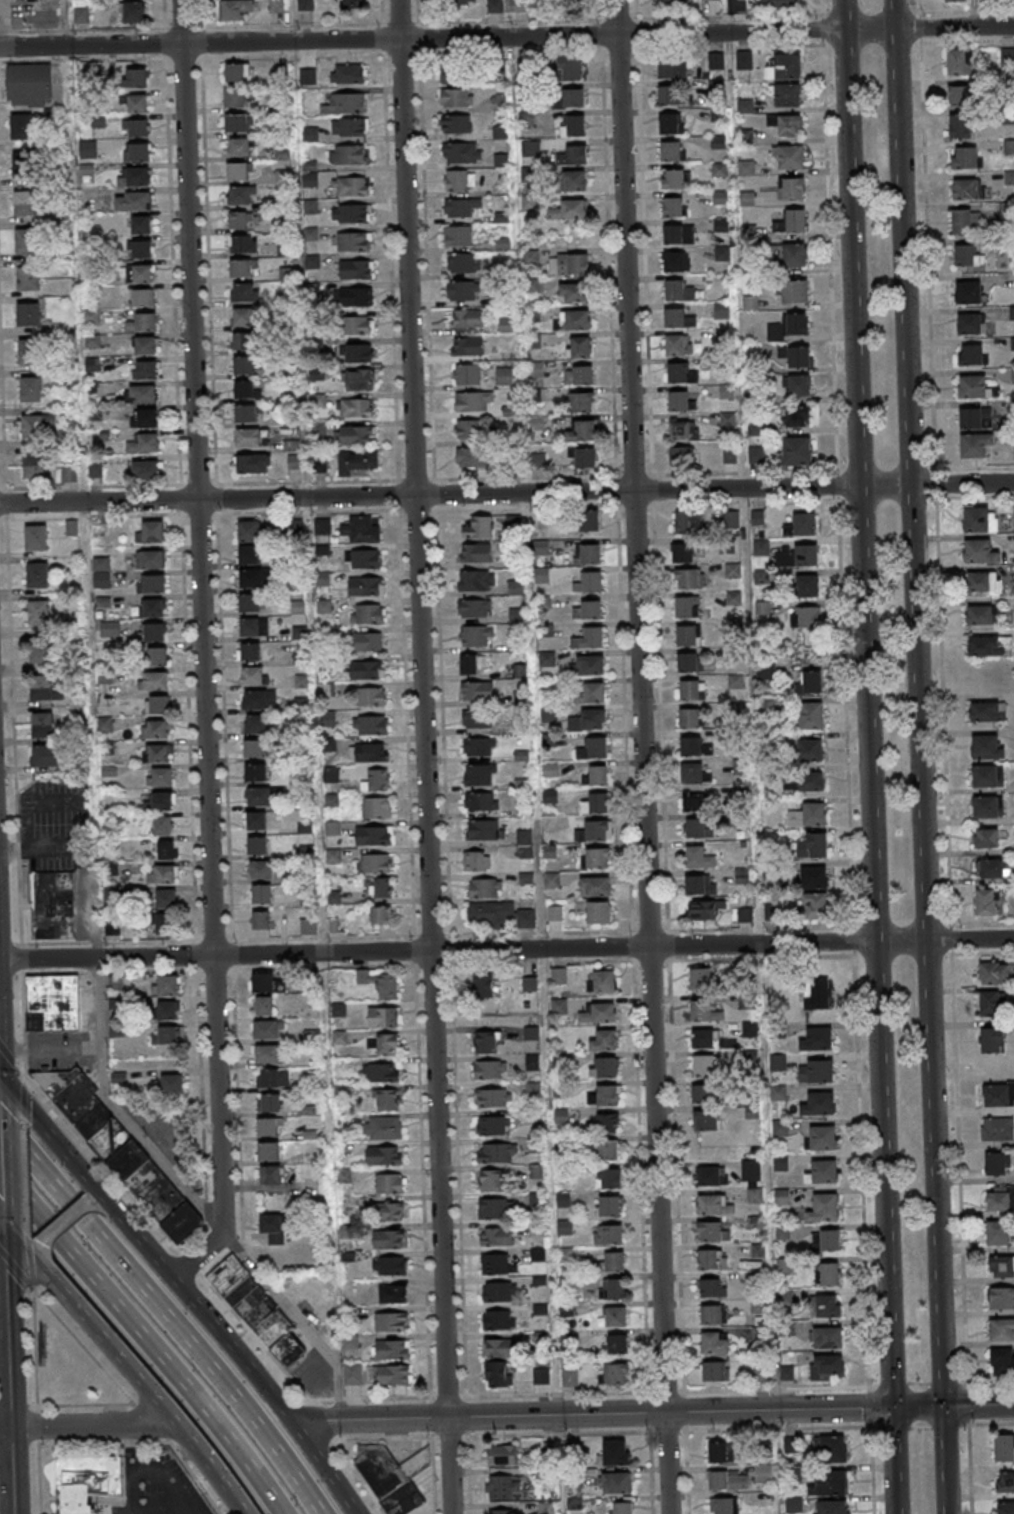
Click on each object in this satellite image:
building: (670, 0)
building: (711, 0)
building: (559, 1)
building: (955, 1)
building: (454, 2)
building: (351, 3)
building: (771, 4)
building: (276, 5)
building: (305, 5)
building: (494, 6)
building: (233, 9)
building: (132, 12)
building: (81, 15)
road: (66, 23)
road: (507, 37)
building: (1007, 58)
building: (716, 62)
building: (957, 62)
building: (570, 68)
building: (673, 68)
building: (784, 68)
building: (237, 72)
building: (346, 73)
building: (456, 75)
building: (135, 79)
building: (29, 85)
building: (668, 95)
building: (960, 95)
building: (787, 96)
building: (573, 97)
building: (235, 98)
building: (457, 98)
building: (499, 102)
building: (136, 104)
building: (347, 104)
building: (745, 106)
building: (717, 114)
building: (670, 122)
building: (239, 123)
building: (456, 124)
building: (573, 125)
building: (789, 126)
building: (959, 126)
building: (22, 127)
building: (136, 128)
building: (349, 128)
building: (718, 141)
building: (1009, 147)
building: (240, 148)
building: (531, 148)
building: (671, 150)
building: (136, 152)
building: (462, 152)
building: (347, 155)
building: (574, 155)
building: (789, 157)
building: (965, 157)
building: (25, 165)
building: (746, 168)
building: (719, 170)
building: (237, 172)
building: (134, 176)
building: (1009, 177)
building: (676, 178)
building: (460, 179)
building: (572, 180)
building: (351, 186)
building: (791, 188)
building: (968, 188)
building: (239, 196)
building: (132, 200)
building: (25, 204)
building: (461, 206)
building: (674, 206)
building: (570, 210)
building: (351, 213)
building: (238, 221)
building: (791, 221)
building: (964, 221)
building: (141, 224)
building: (678, 234)
building: (458, 235)
building: (353, 241)
building: (25, 242)
building: (243, 244)
building: (141, 249)
building: (722, 253)
building: (788, 254)
building: (967, 256)
building: (312, 261)
building: (675, 261)
building: (463, 262)
building: (569, 265)
building: (241, 268)
building: (356, 269)
building: (139, 273)
building: (286, 274)
building: (29, 278)
building: (245, 291)
building: (463, 291)
building: (678, 291)
building: (792, 291)
building: (968, 292)
building: (572, 293)
building: (354, 296)
building: (142, 297)
building: (722, 310)
building: (28, 314)
building: (244, 317)
building: (674, 317)
building: (466, 319)
building: (576, 320)
building: (142, 322)
building: (796, 323)
building: (969, 323)
building: (358, 324)
building: (243, 341)
building: (145, 345)
building: (678, 345)
building: (463, 346)
building: (578, 346)
building: (28, 351)
building: (357, 352)
building: (972, 355)
building: (796, 356)
building: (245, 365)
building: (535, 369)
building: (145, 370)
building: (680, 373)
building: (467, 374)
building: (578, 374)
building: (357, 379)
building: (796, 386)
building: (974, 386)
building: (31, 389)
building: (245, 390)
building: (142, 393)
building: (680, 400)
building: (473, 401)
building: (582, 402)
building: (356, 407)
building: (246, 414)
building: (797, 417)
building: (144, 418)
building: (976, 418)
building: (728, 419)
building: (36, 425)
building: (468, 430)
building: (683, 430)
building: (579, 432)
building: (354, 435)
building: (249, 438)
building: (144, 443)
building: (975, 445)
building: (797, 452)
building: (756, 455)
building: (729, 456)
building: (681, 457)
building: (471, 458)
building: (583, 459)
building: (538, 461)
building: (356, 462)
building: (253, 463)
building: (33, 468)
building: (146, 469)
road: (935, 469)
building: (96, 471)
road: (507, 493)
building: (730, 519)
building: (589, 520)
building: (979, 520)
building: (688, 522)
building: (802, 524)
building: (322, 525)
building: (294, 527)
building: (479, 527)
building: (97, 531)
building: (248, 531)
building: (151, 532)
building: (35, 538)
building: (325, 550)
building: (980, 551)
building: (476, 552)
building: (683, 552)
building: (248, 554)
building: (587, 554)
building: (797, 555)
building: (365, 558)
building: (149, 559)
building: (733, 570)
building: (101, 572)
building: (37, 574)
building: (689, 578)
building: (251, 579)
building: (323, 579)
building: (476, 580)
building: (589, 582)
building: (983, 582)
building: (151, 583)
building: (807, 585)
building: (365, 586)
building: (516, 587)
building: (249, 602)
building: (686, 606)
building: (297, 607)
building: (152, 608)
building: (474, 608)
building: (588, 610)
building: (39, 612)
building: (367, 613)
building: (983, 614)
building: (804, 617)
building: (253, 626)
building: (109, 628)
building: (151, 632)
building: (687, 635)
building: (475, 637)
building: (589, 638)
building: (368, 641)
building: (989, 646)
road: (202, 650)
building: (40, 651)
building: (249, 651)
building: (157, 655)
building: (688, 662)
building: (469, 665)
building: (588, 665)
building: (367, 669)
building: (254, 675)
building: (153, 680)
building: (811, 682)
building: (41, 687)
building: (476, 690)
building: (691, 690)
building: (591, 693)
building: (372, 695)
building: (259, 699)
road: (918, 702)
road: (866, 703)
building: (160, 704)
building: (987, 711)
building: (810, 715)
building: (689, 718)
building: (475, 719)
building: (588, 720)
building: (42, 724)
building: (255, 724)
building: (370, 724)
building: (154, 729)
building: (479, 746)
building: (691, 746)
building: (986, 747)
building: (594, 748)
building: (253, 749)
building: (810, 750)
building: (368, 752)
building: (156, 753)
building: (47, 755)
road: (642, 756)
road: (424, 757)
building: (740, 767)
building: (255, 773)
building: (694, 773)
building: (480, 774)
building: (598, 775)
building: (988, 775)
building: (159, 776)
building: (378, 779)
building: (811, 781)
building: (259, 798)
building: (160, 801)
building: (481, 801)
building: (595, 802)
building: (693, 802)
road: (92, 807)
building: (376, 807)
building: (987, 807)
building: (809, 815)
building: (256, 822)
building: (163, 825)
building: (695, 828)
building: (485, 829)
building: (594, 831)
building: (370, 835)
building: (985, 838)
building: (813, 845)
building: (257, 846)
building: (162, 849)
building: (698, 857)
building: (597, 858)
building: (476, 860)
building: (376, 863)
building: (993, 868)
building: (261, 869)
building: (162, 873)
building: (814, 878)
building: (552, 880)
building: (699, 884)
building: (594, 885)
building: (379, 888)
building: (485, 888)
building: (261, 893)
building: (166, 898)
building: (986, 902)
building: (54, 905)
building: (815, 906)
building: (701, 909)
building: (595, 911)
building: (555, 913)
building: (499, 914)
building: (380, 915)
building: (745, 915)
building: (260, 919)
building: (164, 924)
building: (308, 926)
road: (506, 949)
building: (993, 972)
building: (559, 976)
building: (700, 979)
building: (601, 981)
building: (380, 982)
building: (267, 983)
building: (482, 985)
building: (166, 986)
building: (817, 994)
building: (52, 1002)
building: (990, 1003)
building: (263, 1005)
building: (165, 1011)
building: (701, 1011)
building: (599, 1013)
building: (383, 1016)
building: (268, 1029)
building: (165, 1035)
building: (703, 1038)
building: (818, 1039)
building: (604, 1040)
building: (992, 1040)
building: (484, 1042)
building: (387, 1043)
building: (270, 1054)
building: (704, 1065)
building: (604, 1067)
building: (489, 1069)
building: (815, 1071)
building: (382, 1072)
building: (275, 1079)
building: (171, 1083)
building: (703, 1093)
building: (606, 1094)
building: (998, 1094)
building: (492, 1097)
building: (385, 1099)
building: (269, 1104)
building: (819, 1104)
building: (706, 1120)
building: (605, 1124)
building: (493, 1125)
building: (384, 1127)
building: (268, 1128)
building: (997, 1128)
building: (822, 1137)
road: (56, 1143)
building: (608, 1150)
building: (270, 1152)
building: (496, 1153)
building: (122, 1154)
building: (384, 1155)
building: (781, 1162)
building: (995, 1163)
building: (750, 1170)
building: (823, 1172)
building: (712, 1175)
building: (271, 1176)
road: (0, 1177)
building: (609, 1178)
building: (489, 1180)
building: (390, 1183)
building: (1000, 1198)
building: (714, 1204)
building: (608, 1205)
road: (100, 1207)
building: (823, 1207)
building: (495, 1208)
building: (390, 1210)
traffic signals: (2, 1223)
road: (67, 1224)
road: (960, 1227)
building: (273, 1228)
building: (712, 1231)
building: (998, 1233)
building: (608, 1234)
building: (496, 1236)
building: (388, 1238)
building: (827, 1239)
road: (20, 1244)
road: (43, 1256)
road: (1, 1257)
building: (712, 1259)
building: (612, 1261)
building: (497, 1264)
building: (389, 1265)
building: (1001, 1266)
building: (829, 1273)
building: (712, 1287)
building: (614, 1288)
building: (499, 1291)
building: (393, 1293)
building: (1000, 1298)
building: (826, 1305)
road: (5, 1309)
road: (164, 1314)
building: (259, 1314)
building: (711, 1314)
building: (616, 1316)
road: (296, 1319)
building: (498, 1319)
building: (391, 1321)
road: (3, 1324)
building: (1001, 1330)
building: (825, 1337)
road: (143, 1339)
building: (349, 1342)
building: (715, 1342)
building: (617, 1343)
building: (499, 1347)
building: (391, 1350)
road: (238, 1357)
building: (1002, 1361)
building: (826, 1366)
building: (715, 1371)
building: (497, 1373)
building: (613, 1373)
building: (352, 1375)
building: (391, 1375)
building: (541, 1376)
building: (569, 1377)
road: (112, 1380)
road: (144, 1389)
road: (978, 1405)
road: (917, 1406)
traffic signals: (943, 1406)
traffic signals: (892, 1407)
road: (590, 1414)
road: (86, 1425)
building: (791, 1444)
building: (833, 1448)
building: (1004, 1448)
building: (718, 1451)
building: (613, 1452)
building: (501, 1455)
road: (893, 1460)
road: (944, 1460)
road: (10, 1471)
building: (763, 1473)
road: (150, 1474)
building: (393, 1477)
building: (728, 1480)
building: (1005, 1481)
building: (83, 1482)
building: (615, 1482)
building: (829, 1483)
parking lot: (156, 1485)
building: (503, 1487)
building: (794, 1504)
building: (725, 1505)
building: (833, 1507)
building: (1005, 1507)
building: (546, 1508)
building: (620, 1508)
building: (504, 1511)

